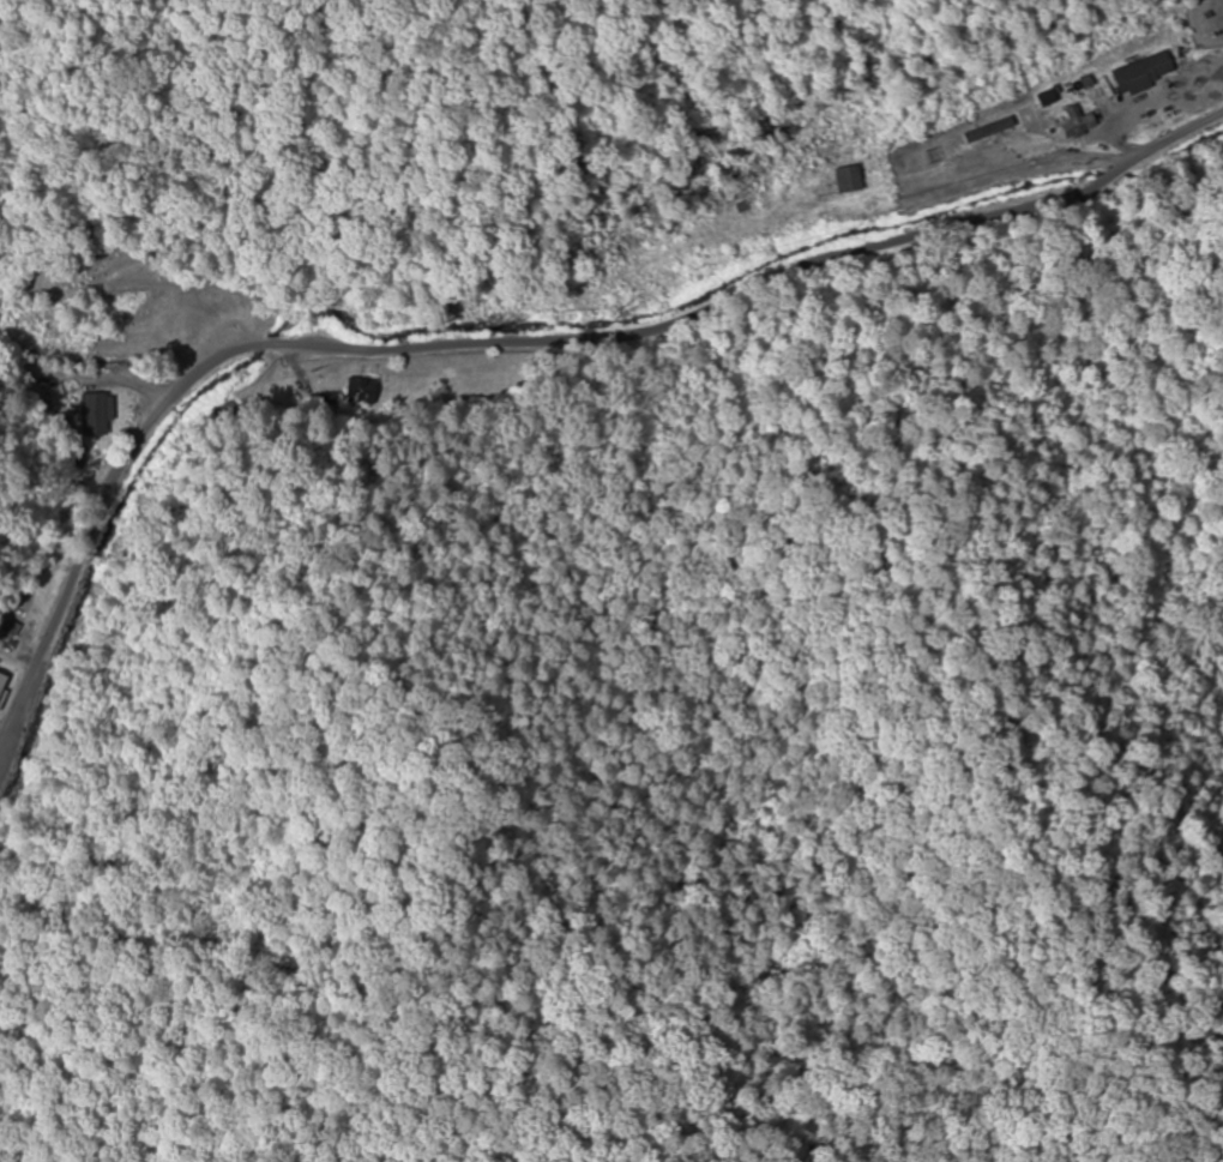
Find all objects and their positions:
building: (1144, 73)
building: (1077, 124)
building: (848, 181)
road: (529, 354)
building: (56, 395)
building: (100, 417)
building: (2, 682)

